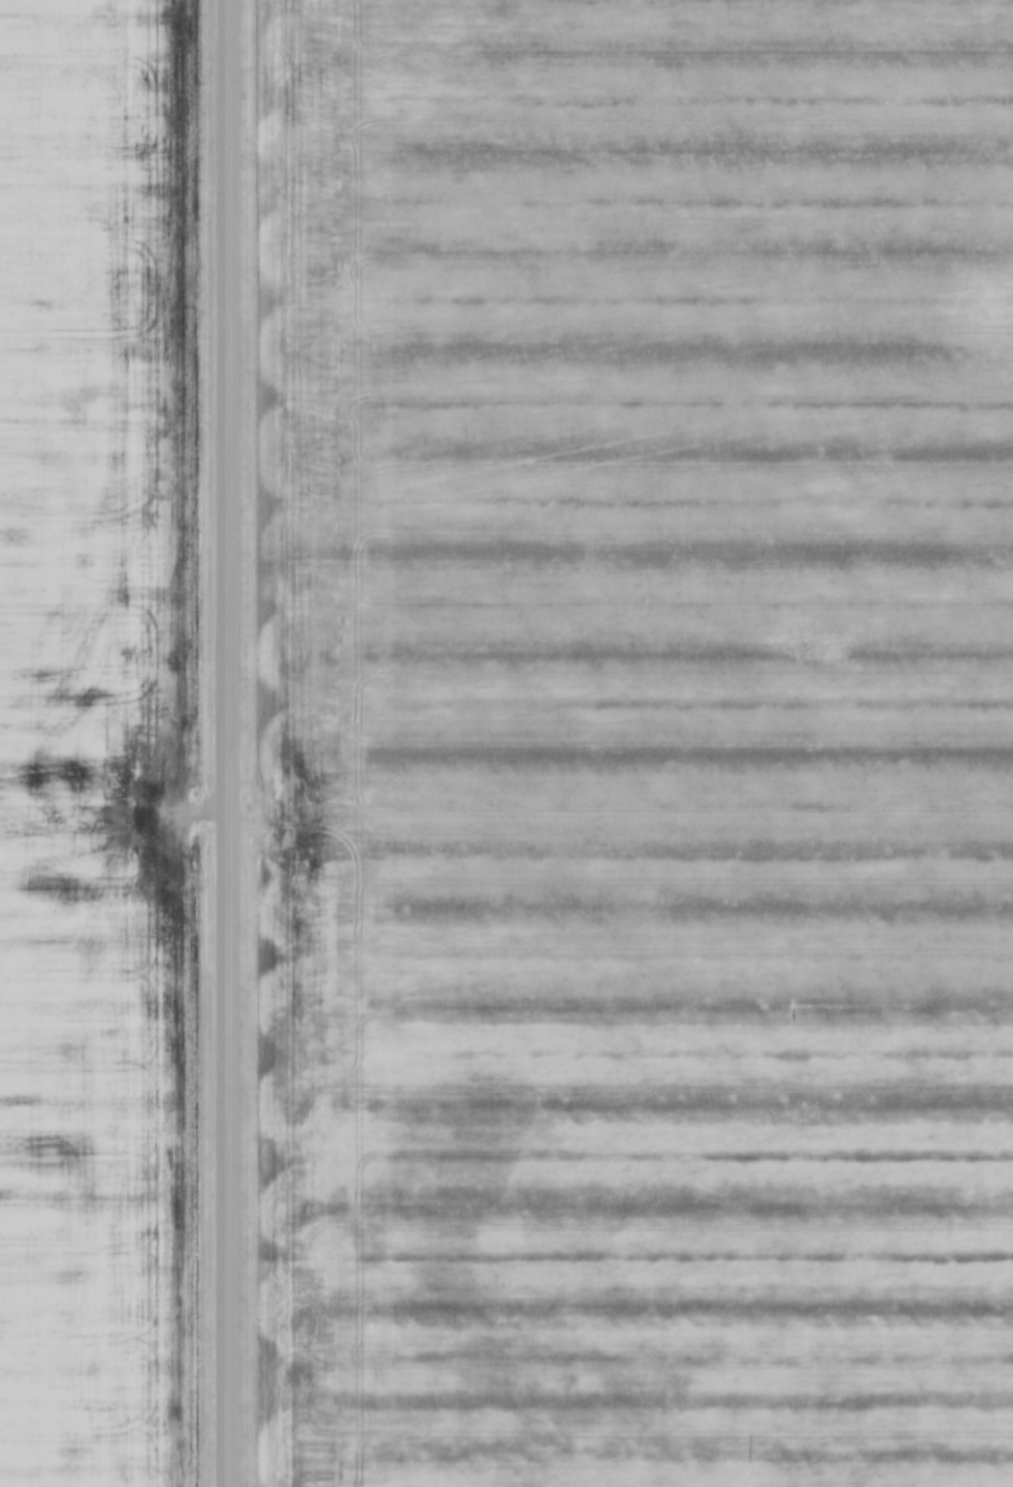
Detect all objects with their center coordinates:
road: (226, 743)

